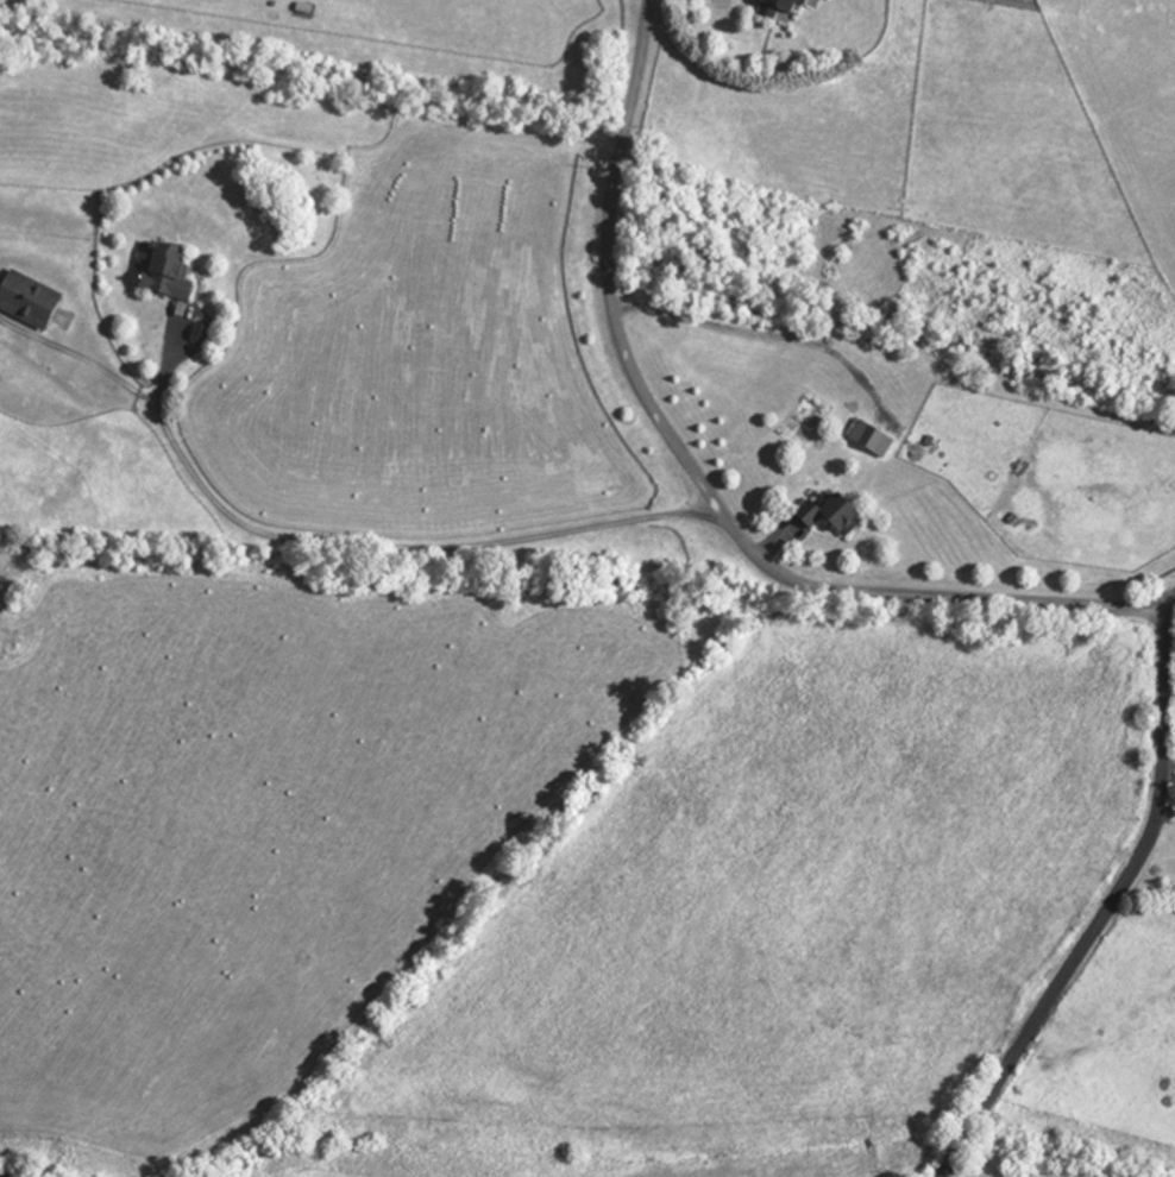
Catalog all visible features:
building: (771, 10)
building: (159, 276)
building: (24, 303)
road: (166, 363)
road: (697, 490)
building: (825, 518)
road: (351, 542)
road: (1102, 908)

